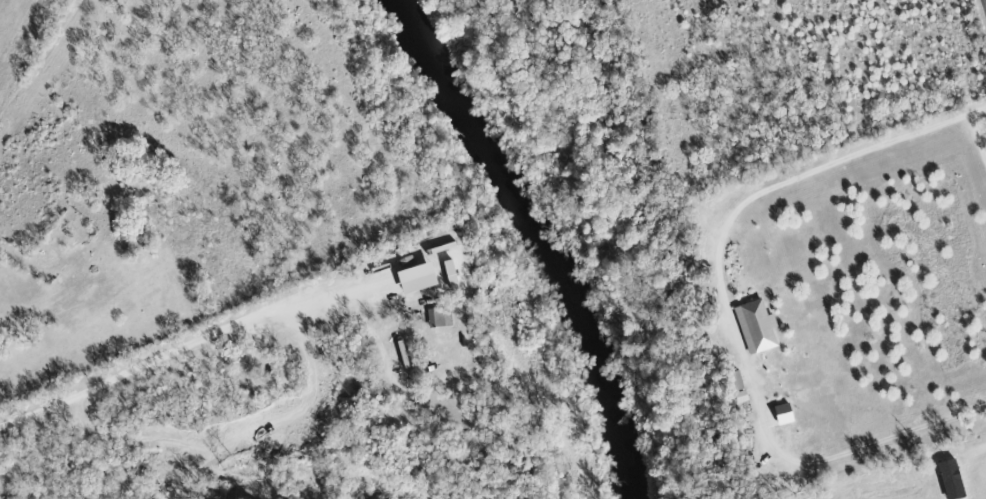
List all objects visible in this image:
road: (985, 0)
road: (978, 112)
road: (978, 141)
river: (548, 236)
building: (412, 275)
road: (727, 316)
building: (439, 317)
building: (754, 325)
road: (150, 361)
building: (735, 385)
road: (979, 459)

